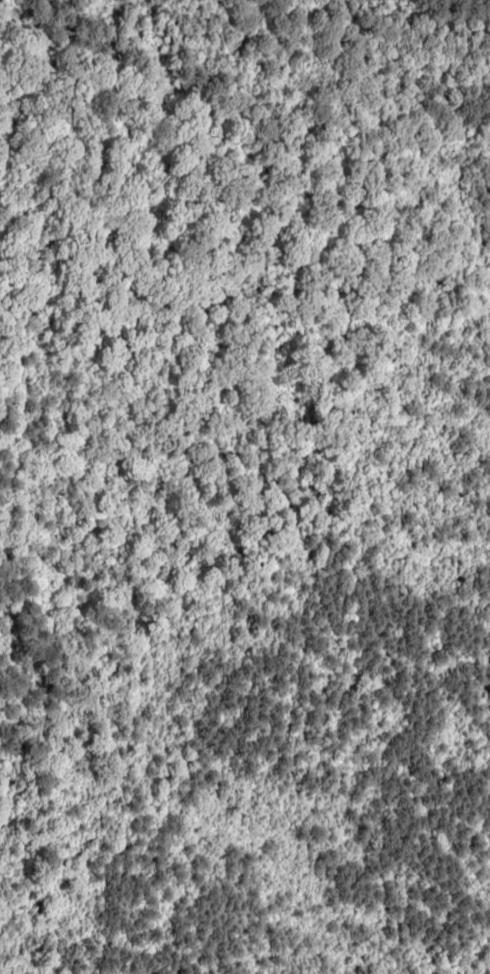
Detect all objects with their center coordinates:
road: (241, 274)

